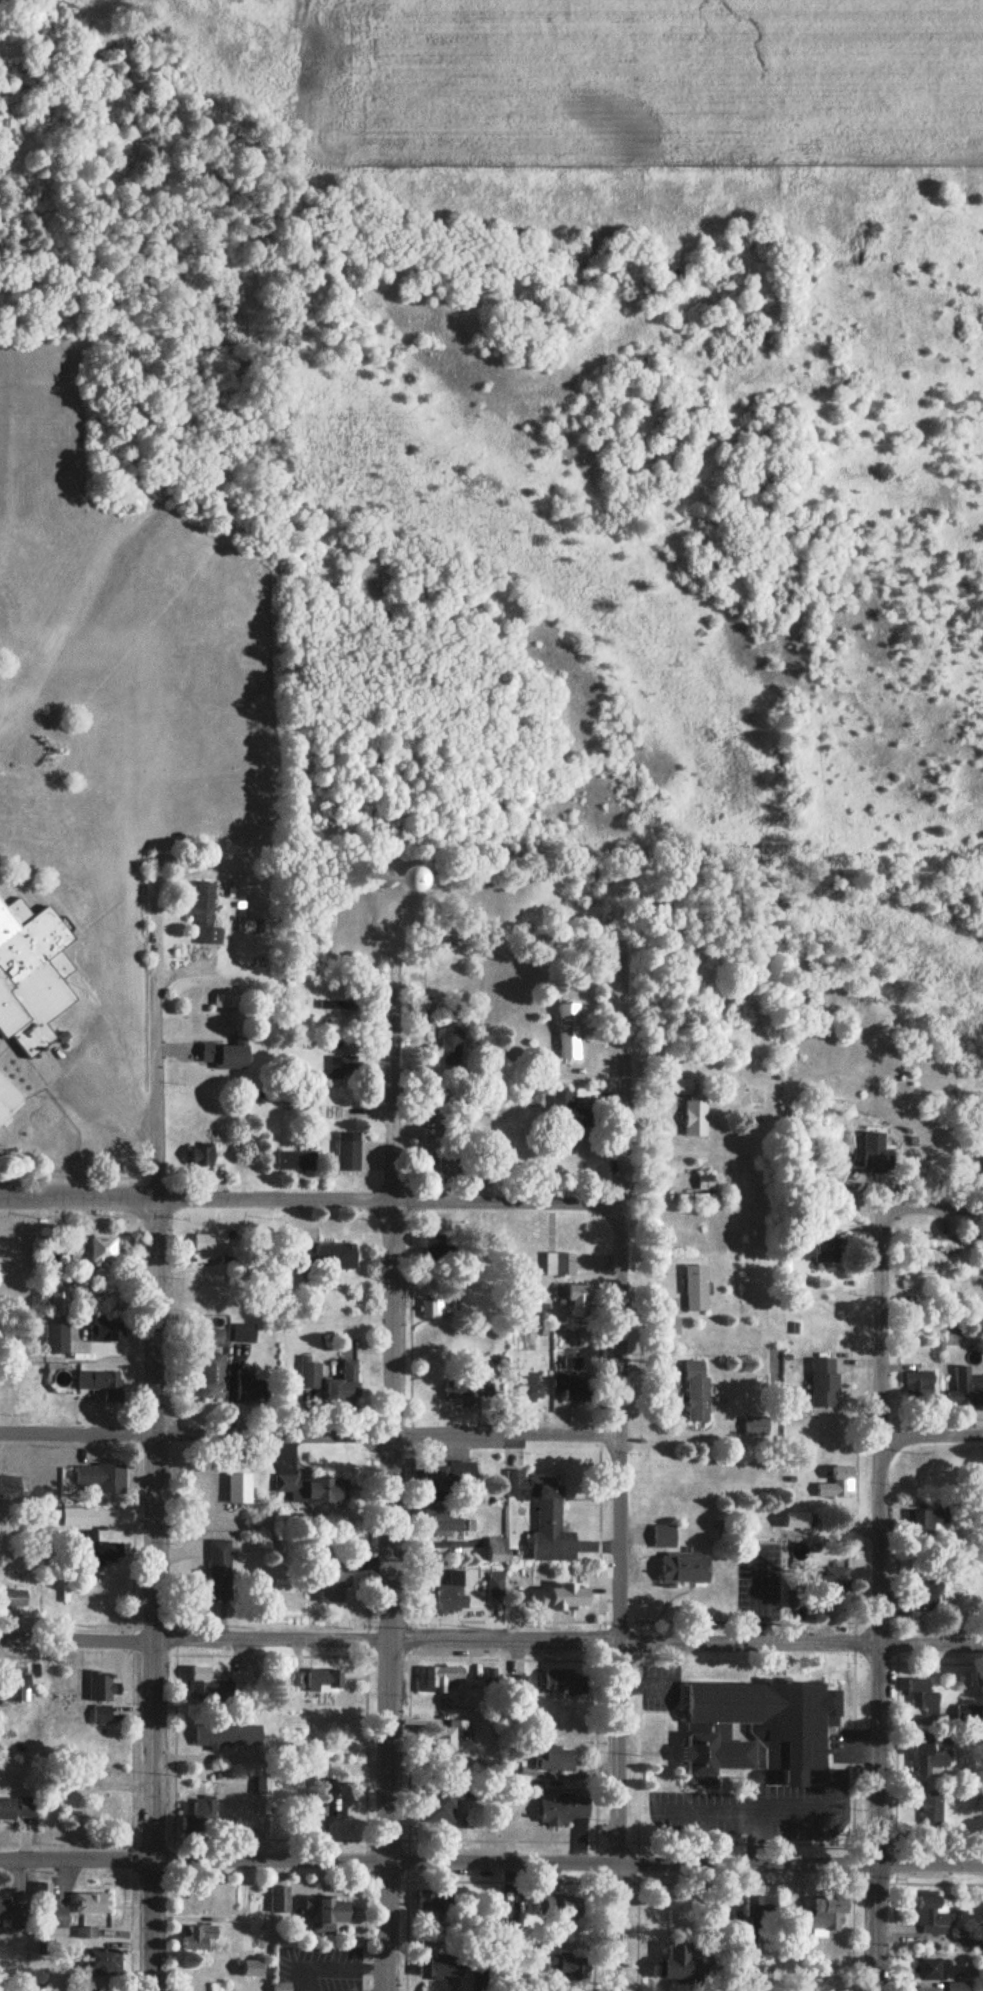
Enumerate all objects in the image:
water tower: (385, 877)
building: (398, 883)
building: (207, 915)
building: (248, 927)
building: (32, 978)
building: (340, 1011)
building: (569, 1032)
building: (452, 1045)
building: (228, 1056)
building: (344, 1067)
building: (684, 1087)
road: (113, 1104)
building: (6, 1108)
building: (570, 1111)
building: (696, 1119)
building: (350, 1152)
building: (878, 1154)
building: (206, 1155)
building: (297, 1162)
building: (445, 1167)
building: (706, 1182)
road: (196, 1199)
building: (693, 1200)
road: (508, 1204)
road: (934, 1211)
building: (941, 1245)
building: (205, 1248)
building: (434, 1250)
building: (90, 1252)
building: (829, 1252)
building: (326, 1258)
building: (566, 1266)
building: (697, 1289)
building: (575, 1300)
building: (107, 1331)
building: (57, 1341)
building: (309, 1376)
building: (213, 1377)
building: (574, 1381)
building: (100, 1382)
building: (826, 1384)
building: (344, 1387)
building: (533, 1388)
building: (921, 1388)
building: (968, 1389)
building: (257, 1391)
building: (699, 1392)
building: (469, 1395)
building: (758, 1427)
road: (198, 1433)
road: (509, 1438)
road: (931, 1440)
road: (396, 1458)
building: (447, 1478)
building: (101, 1479)
building: (839, 1485)
building: (10, 1488)
road: (155, 1488)
building: (310, 1491)
building: (545, 1518)
building: (932, 1520)
road: (621, 1526)
building: (105, 1552)
building: (678, 1561)
building: (222, 1570)
building: (333, 1581)
building: (836, 1581)
building: (496, 1586)
building: (449, 1595)
building: (928, 1596)
building: (15, 1600)
building: (561, 1600)
road: (877, 1600)
road: (196, 1640)
road: (687, 1643)
building: (445, 1679)
building: (327, 1681)
building: (202, 1682)
building: (567, 1682)
building: (103, 1687)
building: (18, 1688)
building: (923, 1697)
building: (970, 1714)
building: (759, 1729)
building: (230, 1736)
building: (448, 1740)
building: (554, 1759)
building: (929, 1761)
building: (264, 1785)
building: (334, 1800)
building: (447, 1802)
building: (17, 1809)
building: (932, 1809)
building: (106, 1811)
building: (200, 1811)
building: (563, 1811)
road: (194, 1859)
road: (685, 1866)
building: (280, 1900)
building: (434, 1900)
building: (93, 1904)
building: (563, 1910)
building: (328, 1914)
building: (753, 1914)
building: (15, 1915)
building: (824, 1916)
building: (55, 1917)
building: (933, 1917)
building: (199, 1937)
building: (676, 1963)
building: (442, 1967)
building: (568, 1968)
building: (100, 1969)
building: (252, 1970)
building: (942, 1970)
building: (483, 1979)
building: (925, 1987)

